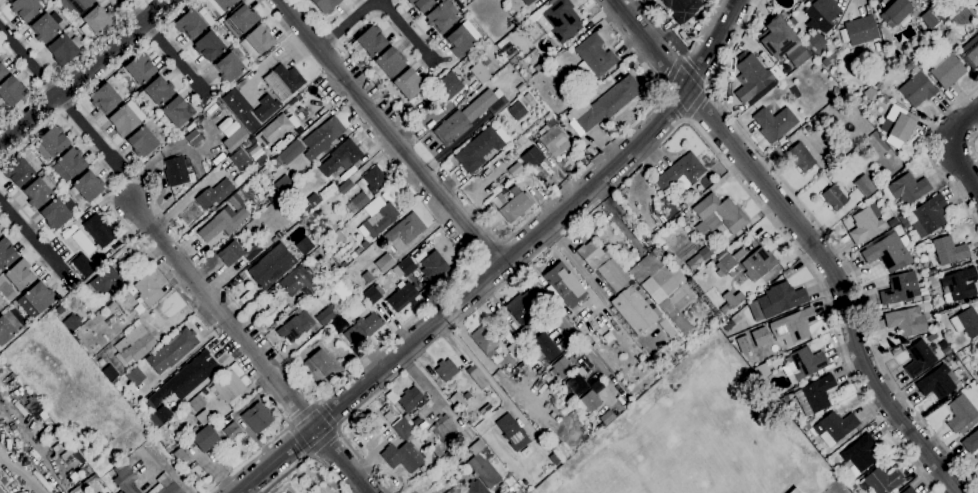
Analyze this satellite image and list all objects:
building: (5, 0)
building: (7, 0)
building: (797, 0)
building: (527, 2)
building: (422, 4)
building: (75, 5)
building: (221, 5)
building: (325, 5)
building: (976, 6)
building: (25, 8)
building: (682, 8)
building: (820, 13)
building: (897, 13)
road: (269, 14)
building: (783, 14)
building: (441, 16)
building: (933, 17)
building: (97, 19)
building: (240, 19)
building: (562, 20)
building: (190, 24)
road: (348, 24)
road: (284, 25)
road: (324, 25)
building: (697, 26)
building: (45, 27)
road: (655, 28)
road: (410, 30)
building: (862, 33)
building: (462, 38)
building: (257, 41)
building: (370, 41)
building: (502, 43)
building: (816, 44)
road: (164, 46)
building: (209, 46)
building: (64, 48)
building: (970, 53)
building: (796, 54)
building: (593, 56)
building: (0, 59)
building: (500, 59)
building: (486, 60)
road: (73, 61)
building: (825, 62)
building: (388, 63)
building: (229, 67)
building: (140, 68)
building: (946, 69)
building: (2, 70)
building: (559, 70)
road: (671, 71)
road: (693, 71)
road: (84, 72)
building: (480, 73)
building: (751, 78)
building: (283, 81)
road: (96, 83)
building: (409, 83)
building: (879, 85)
building: (446, 87)
building: (917, 88)
building: (836, 89)
building: (159, 90)
building: (11, 91)
building: (105, 98)
building: (884, 100)
road: (675, 102)
road: (696, 102)
building: (602, 105)
building: (266, 108)
building: (241, 109)
building: (517, 110)
building: (177, 111)
road: (72, 112)
building: (469, 116)
building: (123, 120)
building: (774, 123)
building: (898, 126)
building: (273, 131)
building: (298, 131)
road: (387, 133)
building: (322, 137)
road: (623, 137)
building: (194, 138)
building: (234, 138)
building: (52, 142)
building: (142, 142)
building: (554, 142)
road: (972, 145)
building: (477, 148)
road: (952, 148)
road: (650, 149)
building: (590, 150)
building: (288, 153)
road: (929, 154)
building: (510, 155)
building: (801, 156)
building: (341, 157)
building: (532, 157)
building: (240, 159)
building: (262, 160)
building: (69, 164)
building: (515, 169)
building: (17, 171)
building: (178, 171)
building: (681, 172)
building: (375, 179)
building: (283, 183)
road: (119, 185)
building: (864, 185)
building: (60, 186)
building: (86, 186)
building: (345, 187)
building: (906, 188)
building: (503, 190)
building: (39, 191)
building: (390, 193)
building: (214, 194)
building: (834, 196)
building: (309, 201)
building: (358, 202)
building: (515, 207)
building: (898, 210)
building: (56, 213)
building: (718, 215)
building: (929, 215)
building: (377, 217)
building: (685, 218)
building: (902, 219)
building: (224, 220)
building: (892, 222)
building: (590, 223)
building: (866, 224)
building: (99, 230)
building: (404, 231)
road: (806, 234)
road: (31, 236)
road: (828, 238)
building: (365, 244)
building: (304, 245)
building: (359, 249)
building: (944, 251)
building: (239, 252)
road: (484, 252)
building: (887, 252)
building: (6, 253)
building: (698, 258)
road: (502, 259)
building: (729, 262)
building: (343, 263)
building: (384, 263)
building: (758, 263)
building: (601, 264)
building: (83, 265)
building: (271, 265)
road: (547, 265)
building: (406, 266)
building: (433, 266)
building: (931, 271)
building: (19, 275)
building: (367, 277)
building: (931, 280)
building: (300, 282)
building: (100, 284)
building: (958, 284)
building: (565, 285)
building: (899, 288)
building: (664, 289)
building: (148, 290)
building: (372, 295)
building: (39, 297)
building: (402, 297)
building: (925, 297)
building: (780, 299)
building: (731, 300)
building: (964, 305)
building: (111, 306)
building: (522, 306)
building: (938, 308)
building: (635, 311)
building: (326, 315)
road: (561, 321)
building: (661, 321)
building: (906, 321)
building: (340, 322)
building: (966, 322)
building: (72, 323)
building: (728, 325)
building: (295, 326)
building: (792, 326)
building: (5, 330)
building: (362, 330)
building: (526, 332)
road: (394, 333)
building: (759, 336)
building: (931, 336)
building: (486, 340)
building: (134, 346)
building: (544, 346)
building: (976, 347)
road: (252, 349)
building: (515, 349)
building: (173, 350)
building: (918, 358)
road: (484, 360)
building: (98, 361)
building: (802, 364)
building: (318, 365)
building: (563, 367)
building: (762, 370)
building: (445, 371)
building: (110, 372)
building: (135, 376)
building: (477, 376)
road: (486, 376)
building: (184, 378)
building: (115, 379)
building: (938, 382)
building: (577, 383)
building: (228, 387)
road: (432, 393)
building: (467, 395)
building: (812, 395)
building: (457, 399)
building: (410, 400)
building: (590, 401)
building: (487, 407)
building: (35, 408)
road: (302, 412)
building: (960, 412)
road: (327, 413)
building: (159, 415)
building: (388, 415)
building: (607, 416)
building: (204, 417)
building: (257, 417)
building: (444, 427)
building: (836, 427)
building: (403, 428)
building: (232, 431)
building: (513, 432)
building: (205, 438)
road: (299, 439)
road: (323, 441)
building: (971, 441)
road: (255, 454)
building: (441, 454)
road: (307, 455)
building: (858, 455)
building: (402, 456)
building: (180, 457)
building: (487, 466)
building: (42, 480)
building: (126, 480)
building: (882, 480)
building: (84, 483)
road: (34, 485)
building: (165, 485)
building: (473, 489)
building: (454, 490)
building: (793, 490)
building: (909, 490)
building: (1, 491)
building: (108, 492)

